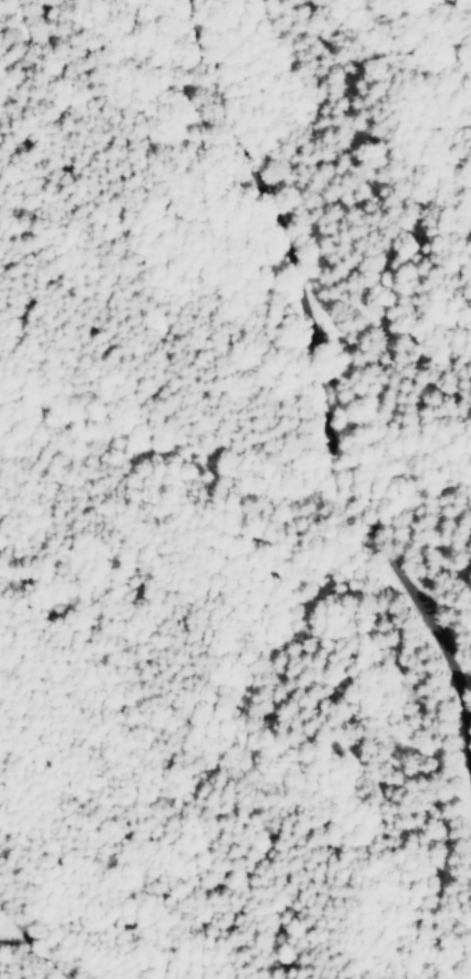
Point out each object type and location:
road: (333, 504)

